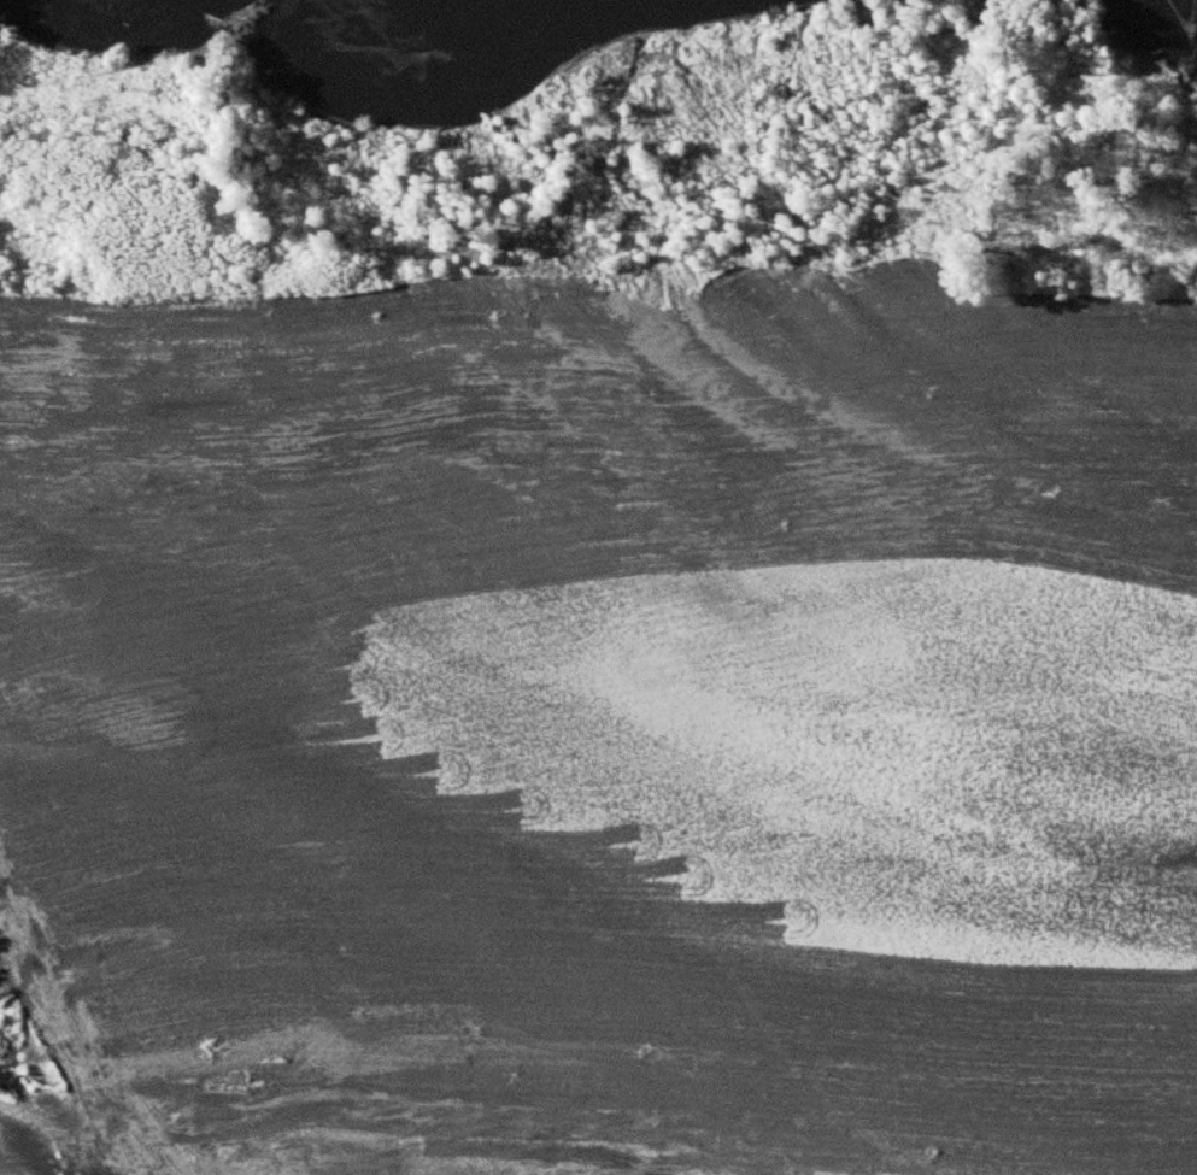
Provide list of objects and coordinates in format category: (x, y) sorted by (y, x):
road: (540, 1162)

